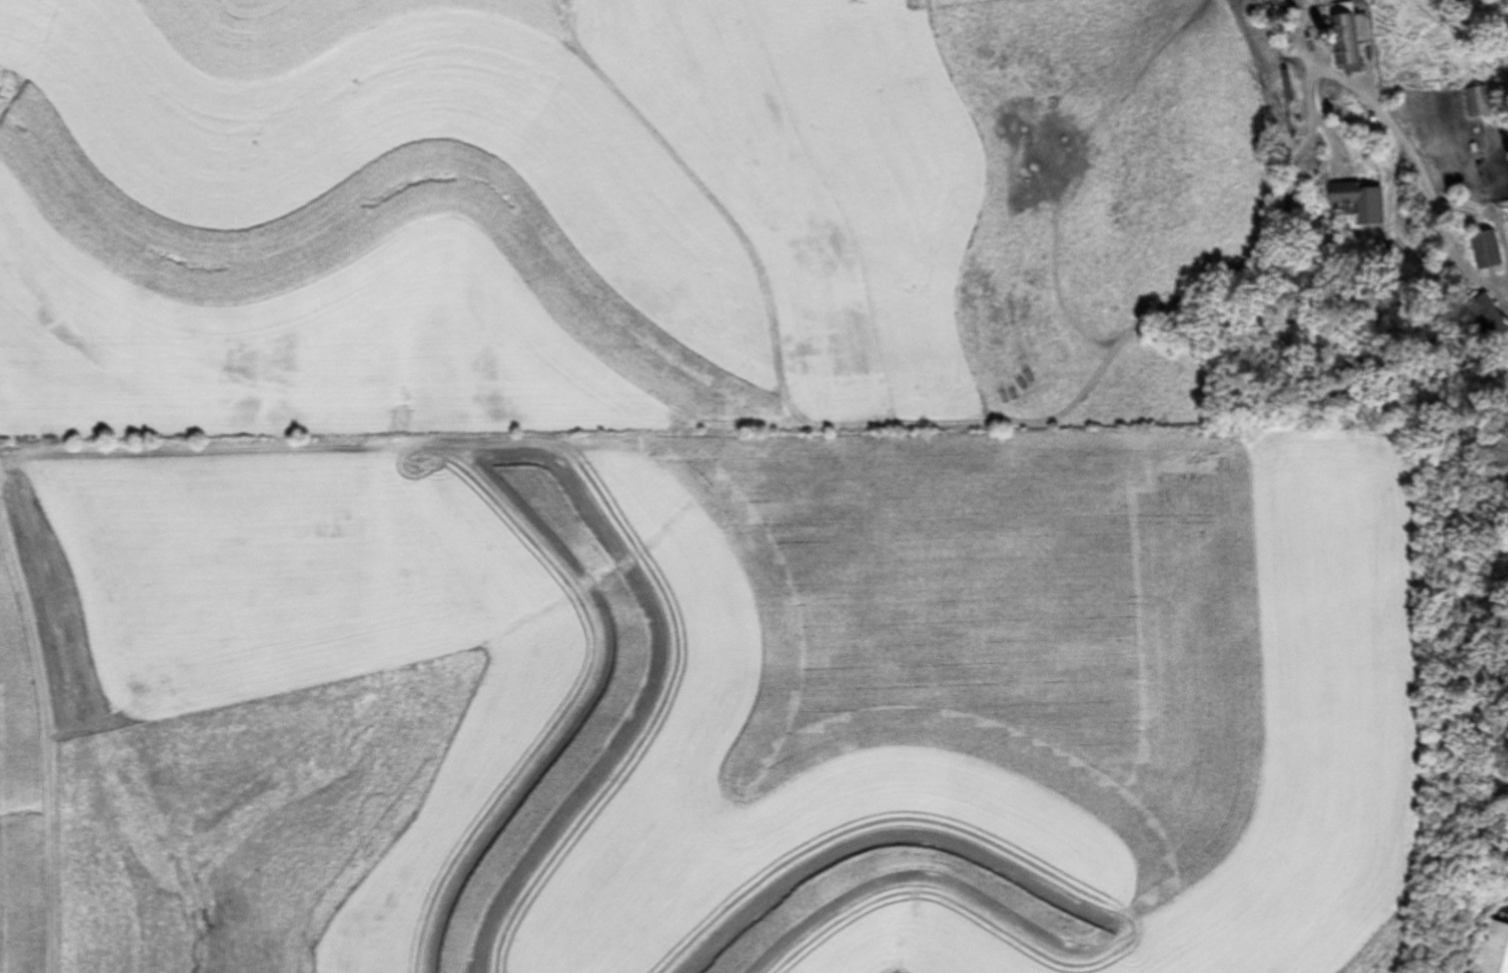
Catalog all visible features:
building: (1344, 38)
building: (1477, 102)
building: (1356, 202)
building: (1323, 229)
building: (1486, 249)
building: (1485, 318)
building: (1487, 947)

